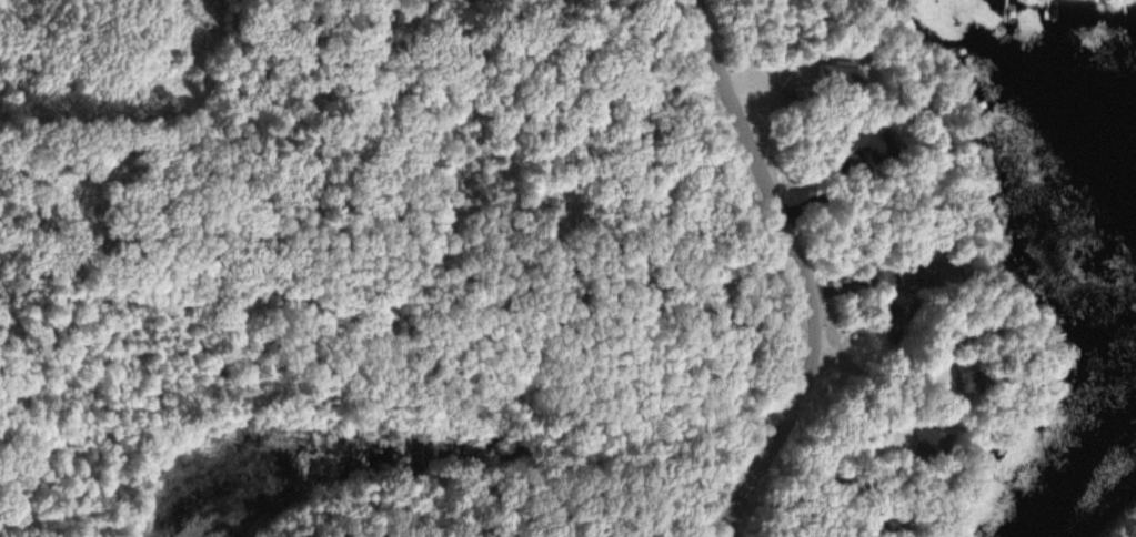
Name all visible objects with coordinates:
building: (834, 74)
building: (866, 138)
road: (795, 271)
building: (921, 272)
building: (954, 334)
building: (966, 379)
building: (931, 443)
building: (878, 519)

